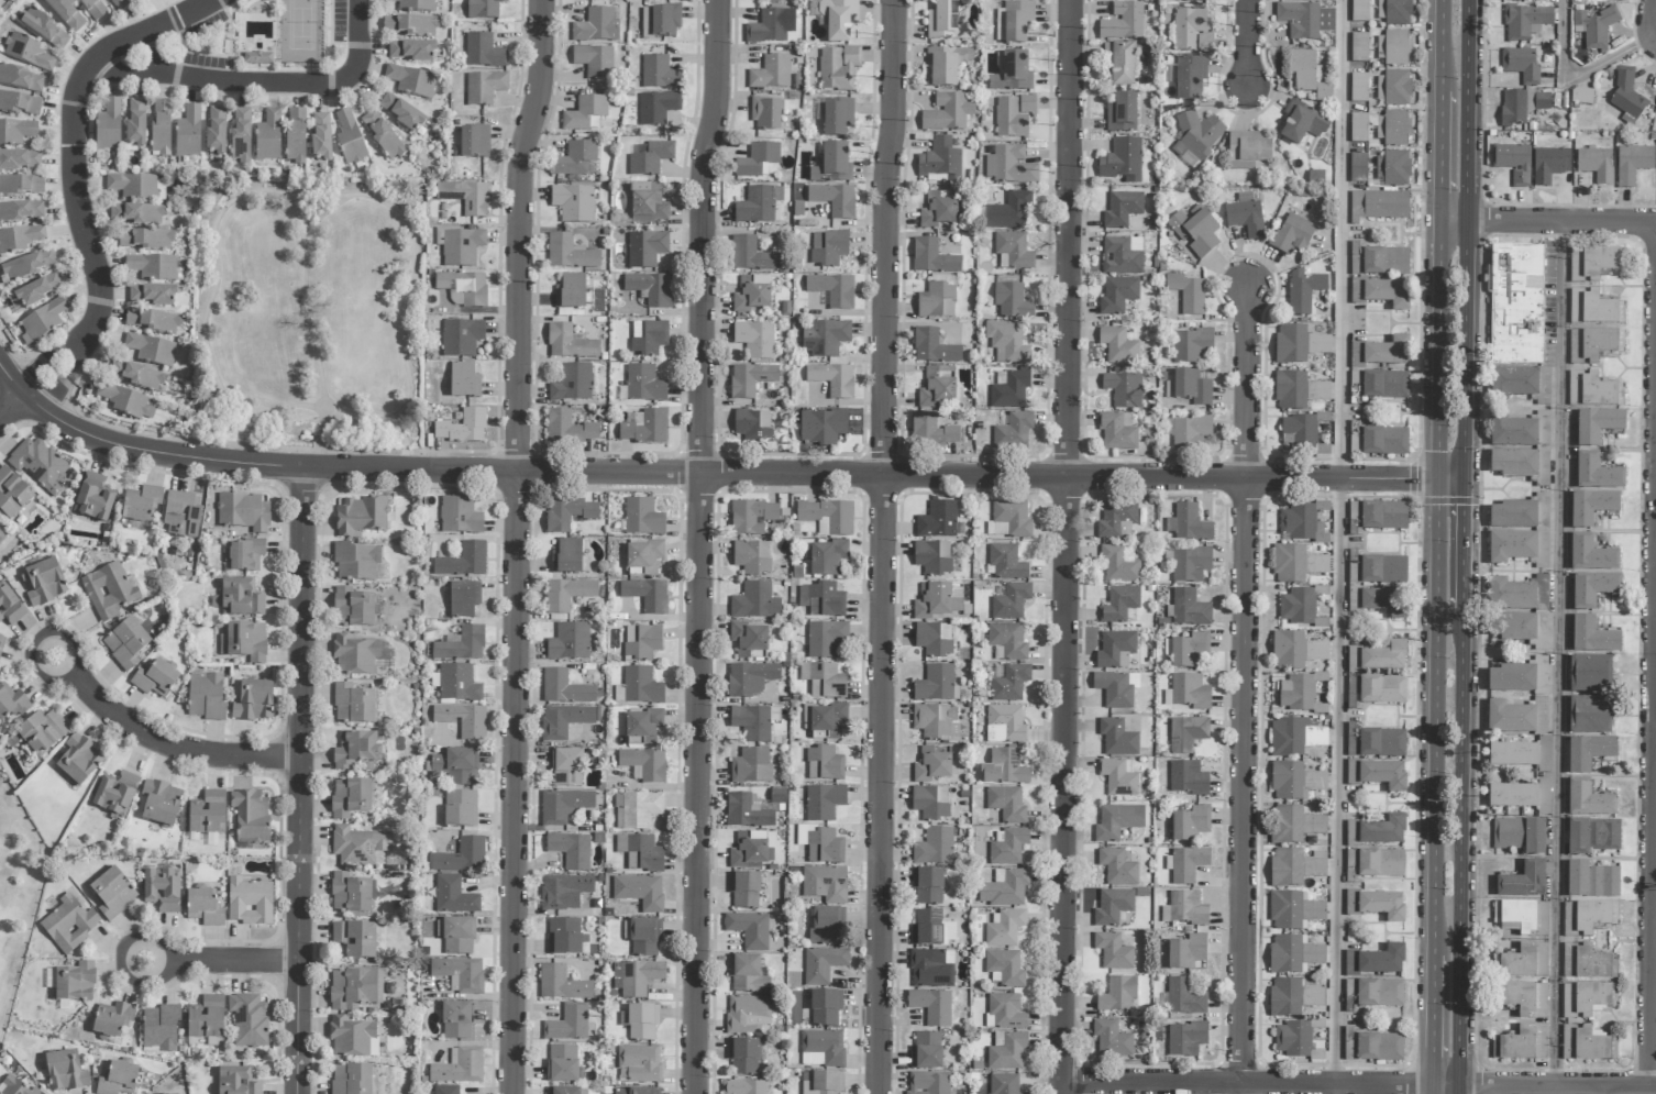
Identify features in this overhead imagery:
building: (1193, 0)
building: (1519, 0)
building: (1604, 1)
building: (119, 4)
building: (413, 5)
building: (95, 8)
building: (483, 9)
building: (1359, 10)
building: (1393, 12)
building: (66, 14)
building: (838, 19)
building: (1304, 20)
building: (660, 22)
building: (945, 22)
building: (1015, 22)
building: (1123, 22)
building: (1525, 22)
road: (1655, 22)
building: (409, 25)
building: (597, 26)
building: (771, 26)
building: (1596, 27)
building: (43, 29)
building: (1191, 32)
road: (1247, 42)
road: (1440, 46)
building: (1359, 47)
building: (1392, 47)
building: (410, 51)
building: (483, 52)
building: (27, 53)
building: (257, 58)
building: (594, 62)
building: (1120, 64)
building: (1521, 65)
building: (838, 68)
building: (942, 68)
building: (659, 74)
building: (771, 74)
building: (1012, 74)
road: (1581, 74)
building: (1307, 75)
building: (1190, 78)
building: (21, 79)
building: (410, 81)
road: (261, 84)
building: (484, 88)
building: (1394, 88)
building: (1581, 97)
building: (1626, 97)
building: (20, 104)
building: (1522, 106)
building: (658, 108)
road: (1468, 110)
building: (947, 112)
building: (400, 113)
building: (585, 113)
building: (1122, 113)
building: (765, 114)
building: (1013, 115)
building: (837, 117)
building: (135, 123)
building: (1302, 123)
building: (108, 126)
building: (1358, 128)
building: (161, 129)
building: (1392, 129)
building: (216, 131)
building: (16, 132)
building: (188, 132)
building: (241, 135)
building: (295, 135)
building: (382, 135)
building: (267, 136)
building: (320, 136)
building: (1197, 136)
building: (349, 139)
building: (474, 142)
building: (1247, 151)
road: (1439, 156)
building: (575, 159)
building: (650, 159)
building: (20, 161)
building: (758, 161)
building: (1122, 161)
building: (940, 163)
building: (1513, 163)
building: (1633, 164)
building: (832, 165)
building: (1549, 165)
building: (1596, 165)
building: (1009, 166)
building: (1358, 167)
building: (1393, 168)
road: (77, 175)
building: (1315, 179)
building: (20, 186)
building: (465, 198)
building: (833, 200)
building: (573, 203)
building: (648, 205)
building: (758, 205)
building: (1378, 206)
building: (1122, 209)
building: (21, 211)
building: (938, 211)
building: (1008, 212)
building: (135, 214)
building: (1245, 216)
road: (1454, 220)
road: (1561, 220)
building: (1194, 231)
building: (1292, 235)
building: (20, 240)
building: (145, 240)
building: (462, 247)
building: (828, 247)
building: (645, 248)
building: (1013, 250)
building: (570, 253)
building: (751, 255)
building: (1122, 256)
building: (932, 258)
building: (1381, 262)
building: (1590, 264)
building: (27, 266)
building: (154, 267)
building: (463, 288)
building: (651, 289)
building: (37, 290)
building: (832, 290)
building: (1303, 291)
building: (571, 292)
building: (752, 294)
building: (1188, 294)
building: (1381, 294)
building: (153, 295)
building: (1117, 295)
building: (936, 301)
building: (1012, 301)
building: (1516, 305)
building: (1592, 309)
park: (319, 312)
building: (43, 321)
building: (152, 321)
building: (461, 338)
building: (649, 338)
building: (824, 339)
building: (754, 340)
building: (1007, 341)
building: (570, 343)
building: (1298, 344)
building: (1191, 345)
building: (1592, 345)
building: (1118, 346)
building: (934, 347)
road: (1465, 349)
building: (151, 350)
building: (1381, 353)
building: (137, 376)
building: (750, 379)
building: (832, 379)
building: (463, 380)
building: (1513, 383)
building: (572, 384)
building: (640, 385)
building: (1384, 385)
building: (938, 388)
building: (1190, 388)
building: (1124, 390)
building: (1592, 390)
building: (1009, 391)
building: (1298, 391)
building: (125, 402)
road: (14, 409)
building: (1598, 426)
building: (821, 427)
building: (462, 428)
building: (644, 428)
building: (753, 428)
building: (568, 429)
building: (931, 430)
building: (1013, 431)
building: (1117, 432)
building: (1513, 432)
building: (1190, 433)
building: (1302, 433)
building: (1384, 441)
building: (1514, 464)
building: (38, 465)
building: (1597, 473)
road: (703, 474)
traffic signals: (1437, 478)
road: (1449, 478)
traffic signals: (1462, 478)
building: (11, 495)
building: (93, 498)
building: (141, 504)
building: (1592, 508)
building: (243, 512)
building: (568, 513)
building: (180, 516)
building: (360, 516)
building: (1383, 516)
building: (1513, 516)
building: (459, 517)
building: (751, 517)
building: (827, 517)
building: (642, 518)
building: (937, 520)
building: (1008, 520)
building: (1117, 520)
building: (1302, 522)
building: (1189, 524)
building: (1, 539)
road: (1461, 543)
road: (519, 545)
road: (702, 545)
road: (885, 546)
road: (1068, 546)
road: (1340, 546)
building: (1591, 555)
building: (244, 556)
building: (566, 556)
building: (643, 557)
building: (751, 557)
building: (827, 557)
building: (932, 557)
building: (463, 561)
building: (355, 562)
building: (1006, 563)
building: (1190, 564)
building: (1296, 564)
building: (1118, 565)
building: (1383, 570)
building: (44, 583)
road: (1436, 587)
building: (1593, 589)
building: (109, 592)
building: (567, 594)
building: (647, 595)
building: (1519, 595)
building: (241, 598)
building: (463, 599)
building: (821, 599)
building: (935, 601)
building: (1011, 601)
building: (754, 603)
building: (1384, 603)
building: (1120, 605)
building: (9, 608)
building: (352, 608)
building: (1189, 608)
building: (1542, 627)
building: (1514, 628)
building: (1593, 637)
building: (826, 639)
building: (934, 639)
building: (749, 640)
building: (1007, 641)
building: (244, 642)
building: (568, 642)
building: (641, 642)
building: (1, 643)
building: (125, 643)
building: (461, 645)
building: (1115, 650)
building: (1188, 650)
building: (1295, 651)
road: (1561, 653)
building: (357, 655)
building: (1378, 659)
building: (1590, 674)
building: (1541, 675)
building: (155, 677)
building: (750, 678)
building: (1512, 678)
building: (824, 681)
building: (1009, 683)
building: (457, 684)
building: (936, 684)
building: (1354, 685)
building: (639, 687)
building: (564, 688)
building: (1117, 688)
building: (1382, 689)
building: (1188, 692)
road: (1247, 692)
building: (206, 696)
building: (253, 701)
building: (10, 704)
building: (353, 705)
building: (1590, 715)
building: (825, 719)
building: (463, 720)
building: (564, 721)
building: (936, 721)
building: (753, 722)
building: (1006, 723)
building: (644, 725)
building: (42, 732)
building: (1542, 733)
building: (1186, 734)
building: (1294, 737)
road: (154, 738)
building: (1117, 738)
building: (1382, 743)
building: (356, 750)
building: (1589, 753)
building: (77, 760)
building: (644, 764)
building: (824, 764)
building: (932, 764)
building: (751, 765)
building: (454, 766)
building: (1004, 767)
building: (567, 769)
building: (1378, 774)
building: (1118, 777)
building: (1188, 778)
building: (1294, 781)
road: (302, 782)
building: (115, 794)
building: (1521, 797)
building: (350, 798)
building: (1589, 800)
building: (824, 802)
building: (930, 803)
building: (159, 804)
building: (1006, 804)
building: (563, 806)
building: (460, 809)
building: (639, 809)
building: (207, 814)
building: (250, 816)
building: (1117, 821)
building: (1191, 824)
building: (1295, 825)
building: (1383, 831)
building: (1353, 833)
building: (1520, 835)
building: (1593, 836)
building: (358, 846)
building: (823, 846)
building: (1008, 847)
road: (1459, 847)
building: (934, 848)
building: (571, 850)
building: (749, 851)
building: (640, 853)
building: (461, 857)
building: (1380, 863)
building: (1188, 864)
building: (1117, 868)
building: (1294, 868)
building: (1592, 881)
building: (1524, 882)
building: (825, 884)
building: (927, 886)
building: (1005, 889)
building: (162, 891)
building: (744, 891)
building: (563, 892)
building: (639, 892)
park: (18, 893)
building: (112, 893)
building: (350, 894)
building: (454, 896)
building: (250, 902)
building: (1377, 905)
building: (1113, 906)
building: (203, 907)
building: (1184, 908)
building: (1293, 910)
road: (1655, 914)
building: (1593, 916)
building: (1522, 918)
building: (69, 924)
building: (827, 926)
building: (749, 929)
building: (931, 929)
building: (1004, 929)
building: (456, 937)
building: (564, 937)
building: (644, 937)
building: (354, 940)
building: (1113, 951)
building: (1186, 952)
building: (1293, 954)
road: (210, 961)
building: (1382, 961)
building: (1523, 962)
building: (1588, 963)
building: (823, 964)
building: (1005, 968)
building: (931, 969)
road: (1654, 972)
building: (460, 973)
building: (747, 975)
building: (636, 977)
building: (75, 983)
building: (561, 984)
building: (352, 990)
building: (1379, 993)
building: (1118, 995)
building: (1184, 997)
building: (1292, 997)
building: (1524, 998)
building: (1583, 999)
building: (931, 1006)
building: (825, 1007)
building: (1005, 1012)
building: (747, 1014)
building: (206, 1018)
building: (112, 1020)
building: (249, 1020)
building: (456, 1020)
road: (1432, 1020)
building: (642, 1023)
building: (570, 1024)
building: (159, 1028)
building: (352, 1038)
building: (1112, 1039)
building: (1185, 1039)
building: (1293, 1039)
building: (1522, 1043)
building: (1586, 1043)
building: (1379, 1047)
building: (821, 1049)
building: (1005, 1050)
building: (926, 1051)
building: (744, 1056)
building: (639, 1063)
building: (564, 1064)
building: (460, 1068)
building: (65, 1071)
building: (118, 1079)
building: (351, 1079)
building: (236, 1082)
building: (821, 1083)
building: (928, 1083)
building: (1004, 1084)
road: (1247, 1084)
road: (1445, 1085)
building: (743, 1086)
building: (14, 1087)
road: (1556, 1087)
building: (445, 1090)
road: (1431, 1090)
road: (1458, 1090)
road: (1494, 1090)
building: (563, 1091)
building: (637, 1091)
road: (1546, 1091)
road: (1607, 1091)

